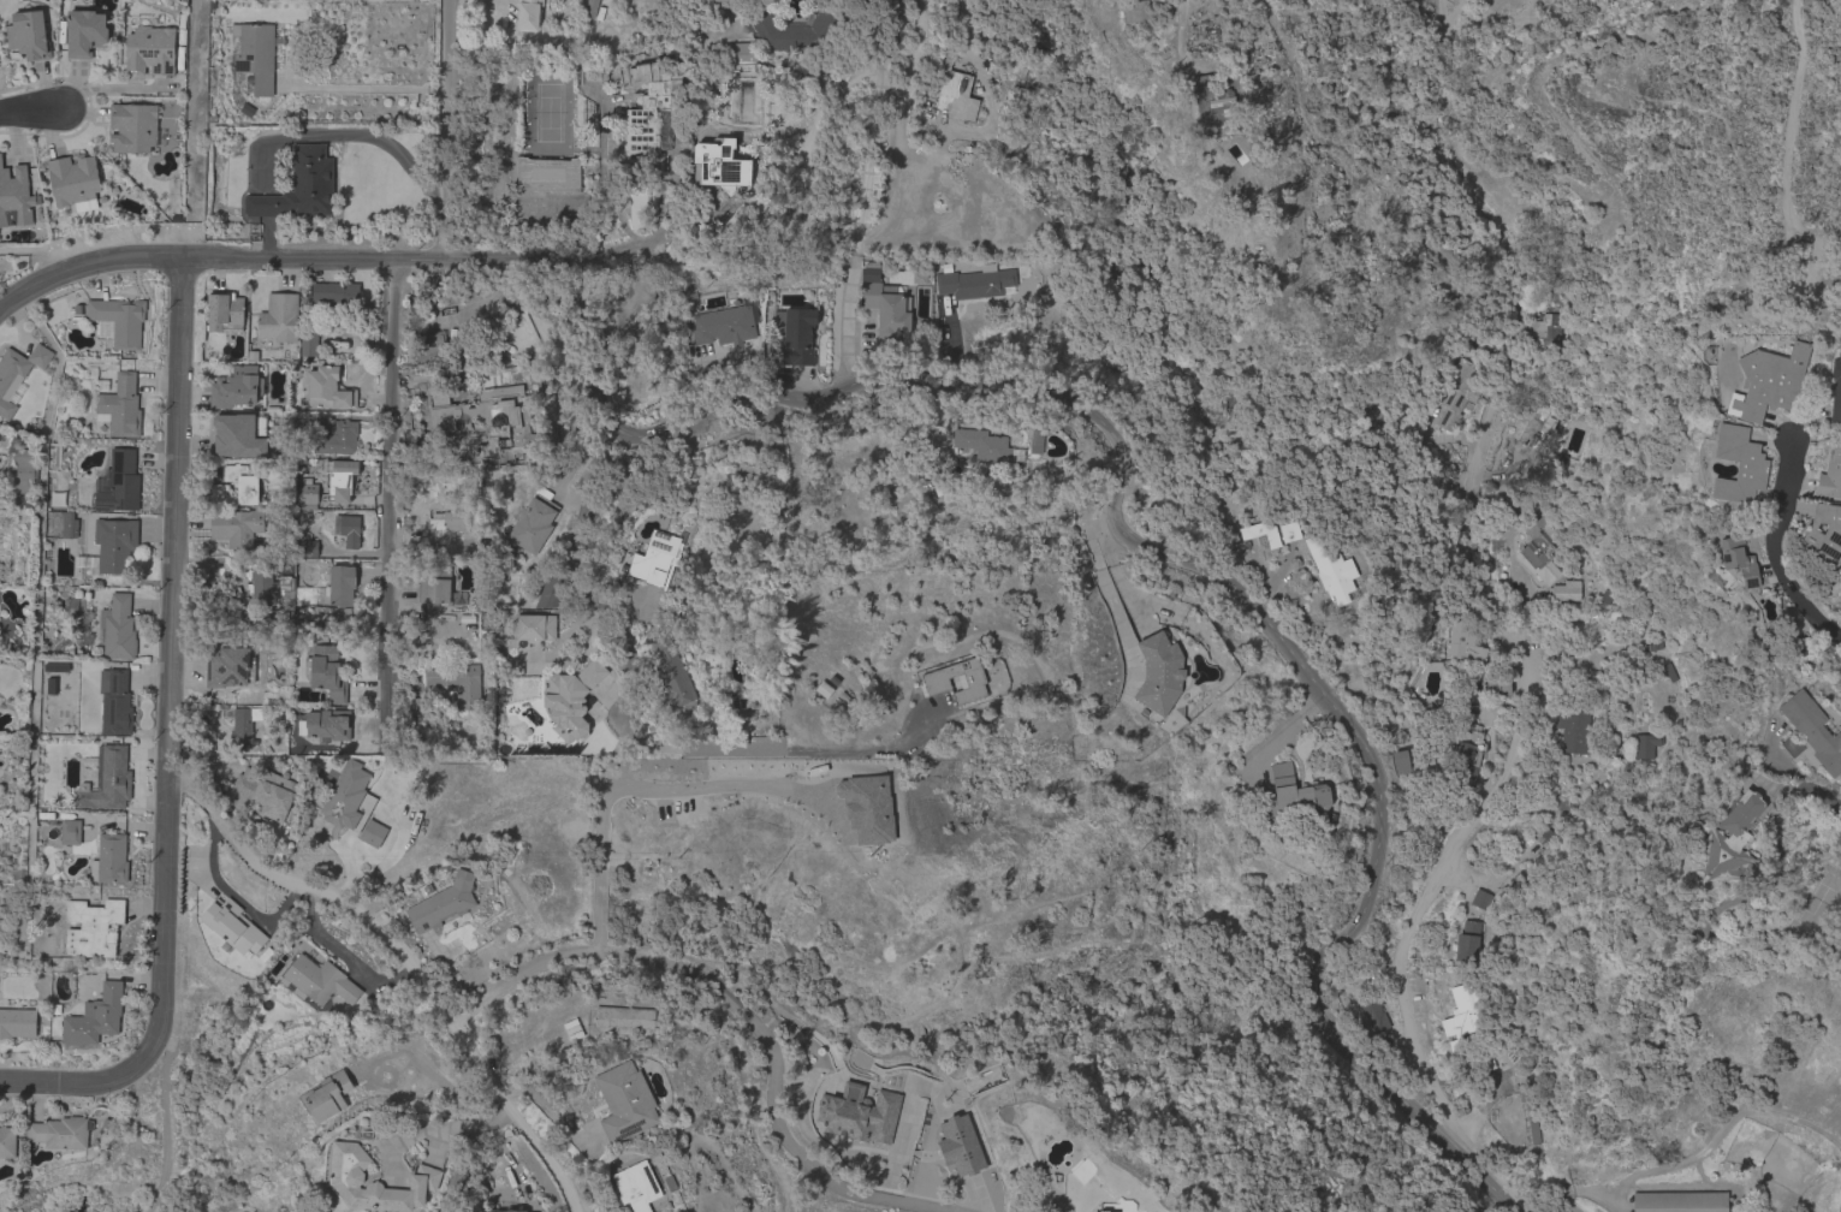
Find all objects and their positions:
building: (590, 8)
building: (1136, 11)
building: (528, 14)
road: (1169, 22)
road: (1178, 22)
building: (801, 31)
building: (84, 32)
building: (28, 35)
building: (150, 48)
building: (256, 54)
building: (736, 57)
road: (369, 91)
building: (957, 96)
building: (1212, 96)
road: (1790, 105)
road: (30, 112)
building: (652, 119)
road: (902, 124)
building: (135, 127)
road: (450, 132)
road: (372, 137)
building: (720, 166)
building: (548, 174)
building: (73, 179)
building: (299, 186)
road: (871, 194)
building: (14, 196)
road: (342, 261)
building: (917, 278)
building: (975, 283)
building: (337, 293)
building: (688, 299)
building: (887, 310)
building: (224, 311)
building: (279, 317)
building: (118, 321)
building: (723, 326)
building: (1546, 333)
building: (798, 337)
building: (308, 344)
road: (946, 345)
building: (429, 347)
building: (17, 375)
building: (1769, 381)
building: (236, 387)
building: (1836, 387)
building: (325, 390)
building: (1457, 393)
building: (120, 406)
building: (485, 417)
building: (1534, 429)
building: (5, 434)
building: (238, 434)
building: (337, 439)
building: (1037, 440)
building: (986, 445)
road: (575, 457)
building: (1509, 459)
building: (1739, 465)
building: (24, 470)
building: (1830, 474)
building: (340, 479)
building: (120, 483)
building: (237, 487)
building: (305, 495)
road: (391, 509)
building: (533, 522)
building: (69, 524)
building: (236, 527)
building: (456, 528)
building: (346, 529)
building: (1290, 529)
building: (1261, 531)
building: (1825, 533)
building: (111, 546)
building: (308, 548)
building: (1536, 548)
road: (1771, 553)
building: (657, 558)
building: (1739, 559)
road: (1158, 563)
building: (1331, 566)
road: (1479, 581)
building: (340, 586)
building: (452, 586)
building: (272, 588)
building: (439, 588)
building: (1564, 590)
building: (541, 614)
building: (117, 628)
building: (1465, 642)
building: (231, 663)
road: (172, 664)
building: (327, 672)
building: (1159, 673)
building: (673, 677)
building: (972, 681)
building: (458, 683)
building: (51, 685)
building: (1497, 685)
building: (824, 689)
building: (570, 699)
building: (115, 703)
building: (741, 706)
building: (418, 707)
building: (325, 724)
building: (242, 729)
road: (622, 729)
building: (1574, 730)
building: (1813, 730)
building: (1646, 745)
building: (1792, 745)
building: (1471, 755)
building: (1401, 761)
building: (107, 780)
building: (266, 791)
building: (1295, 792)
road: (1806, 795)
building: (349, 797)
road: (633, 797)
building: (67, 831)
building: (373, 833)
building: (1732, 838)
road: (399, 840)
building: (109, 860)
building: (1480, 899)
building: (443, 903)
building: (93, 927)
building: (233, 927)
building: (1468, 941)
building: (1620, 941)
road: (404, 959)
building: (317, 981)
road: (744, 1014)
building: (1461, 1016)
building: (95, 1017)
building: (624, 1017)
building: (1374, 1017)
building: (17, 1018)
building: (1484, 1062)
road: (72, 1083)
building: (328, 1095)
building: (625, 1101)
building: (860, 1116)
road: (167, 1125)
road: (428, 1130)
building: (59, 1133)
building: (7, 1142)
road: (438, 1145)
building: (958, 1146)
road: (459, 1155)
building: (374, 1182)
building: (637, 1186)
building: (75, 1202)
building: (1680, 1202)
building: (1117, 1206)
road: (1552, 1206)
building: (501, 1210)

